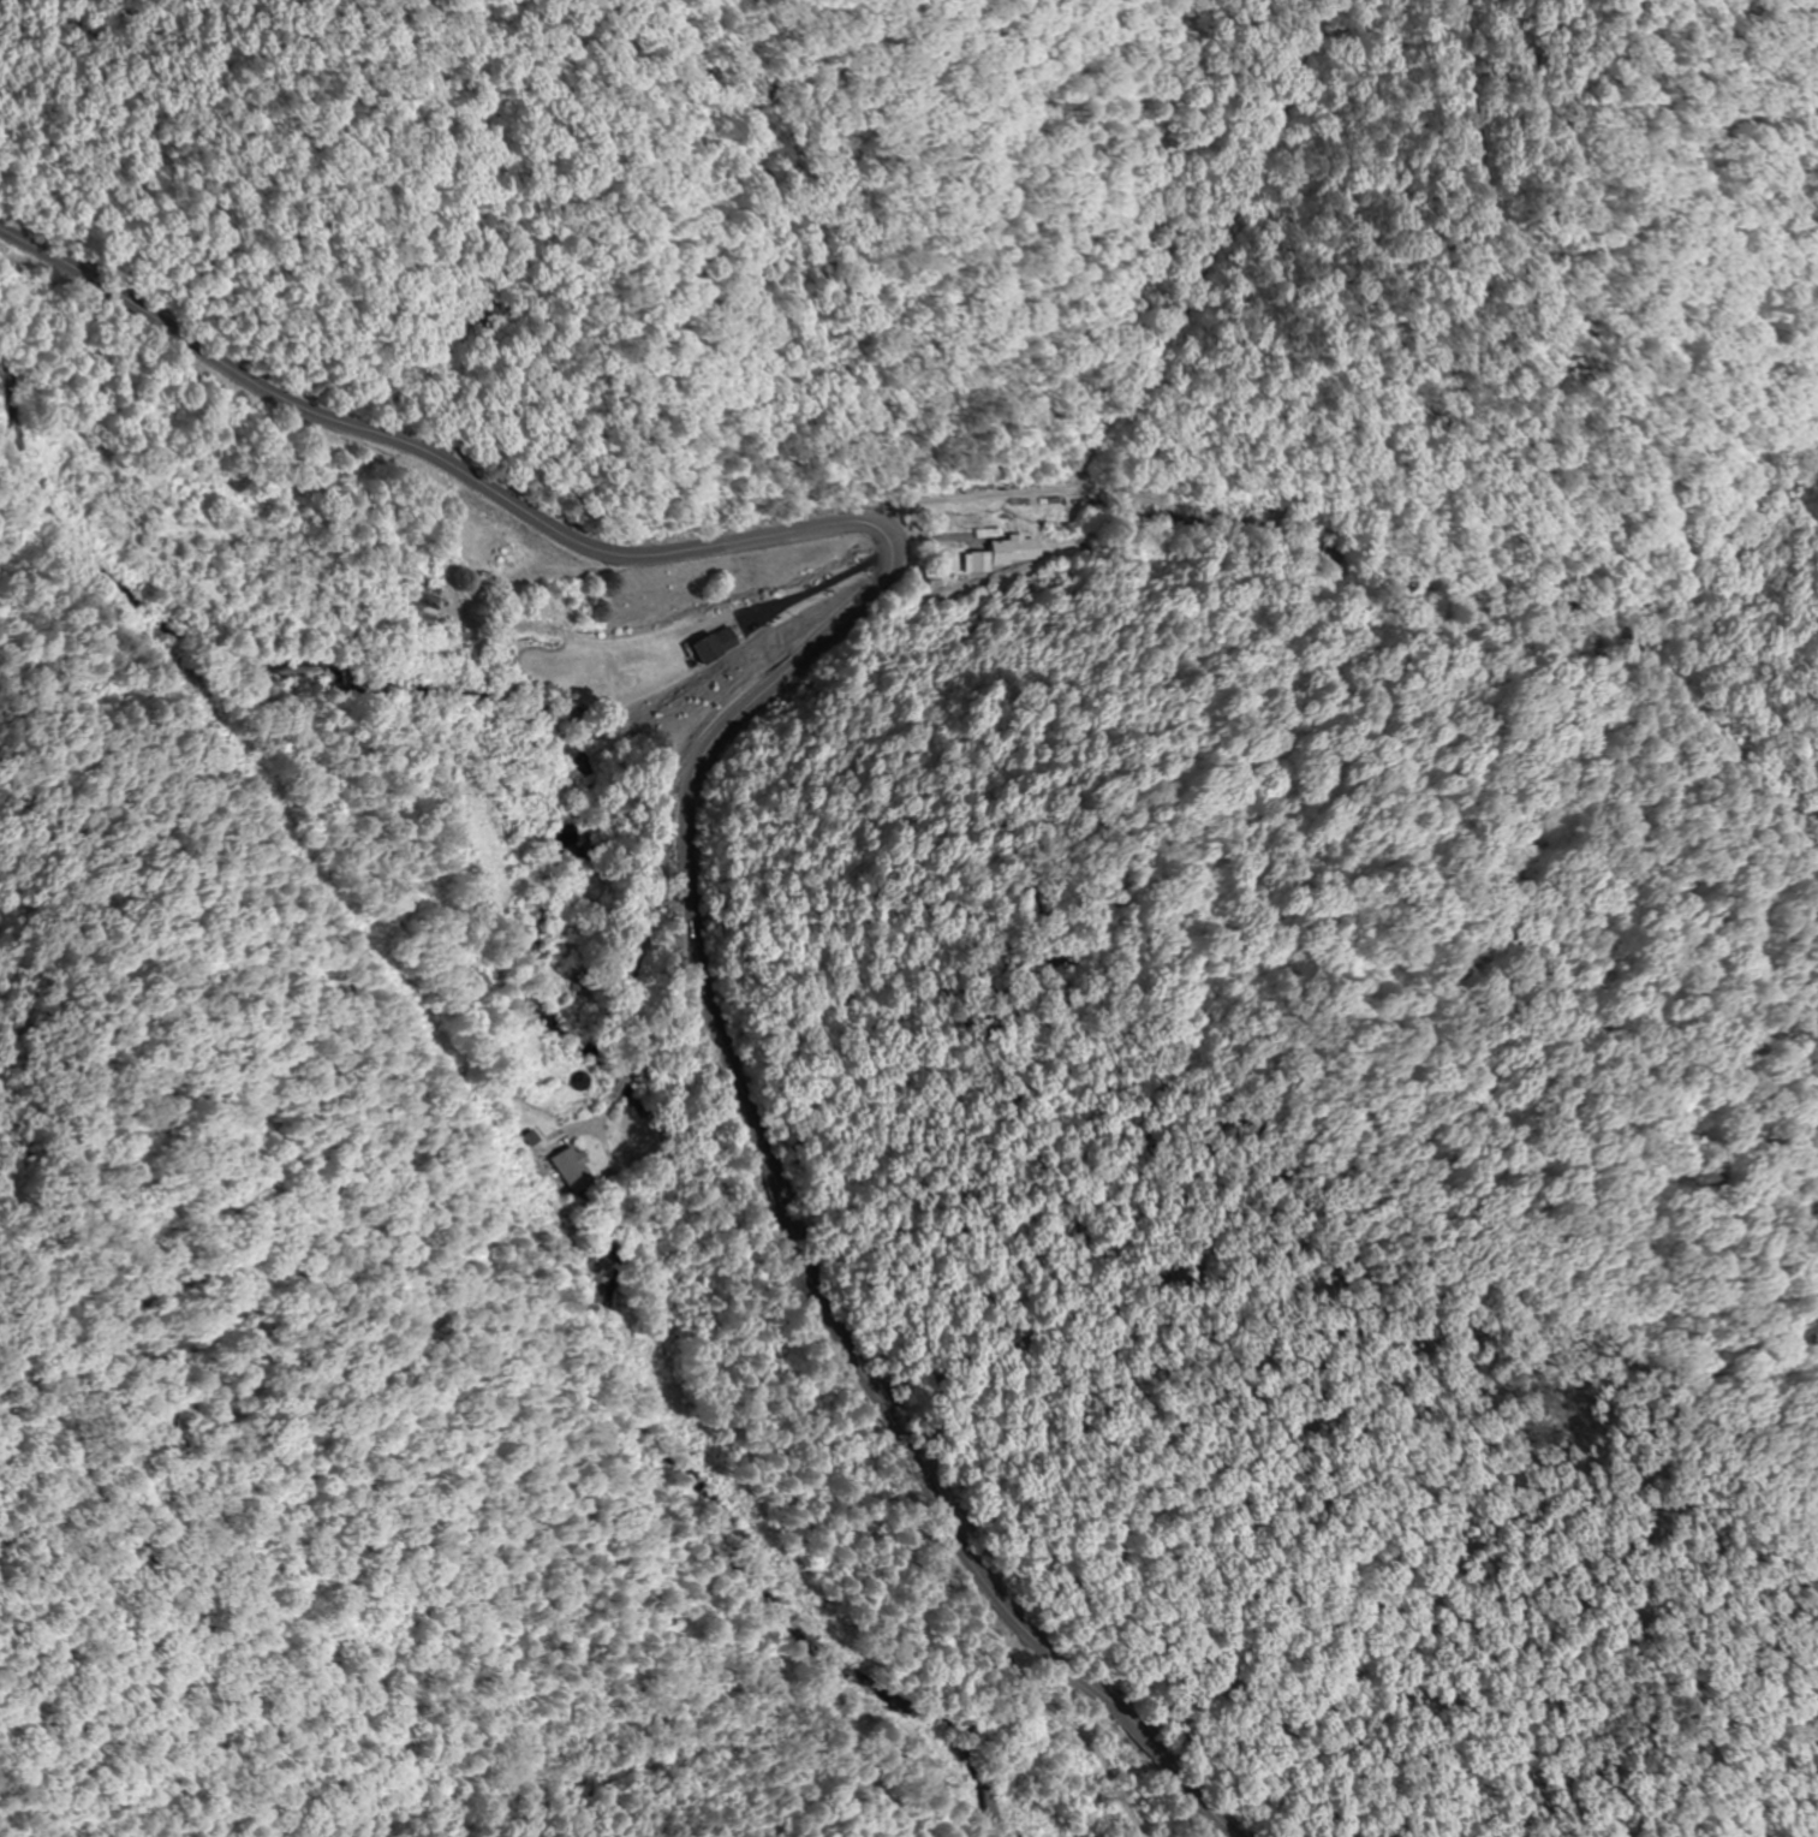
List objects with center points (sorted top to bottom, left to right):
road: (1053, 493)
building: (1001, 553)
building: (423, 606)
building: (716, 644)
building: (636, 676)
road: (707, 748)
building: (572, 1167)

